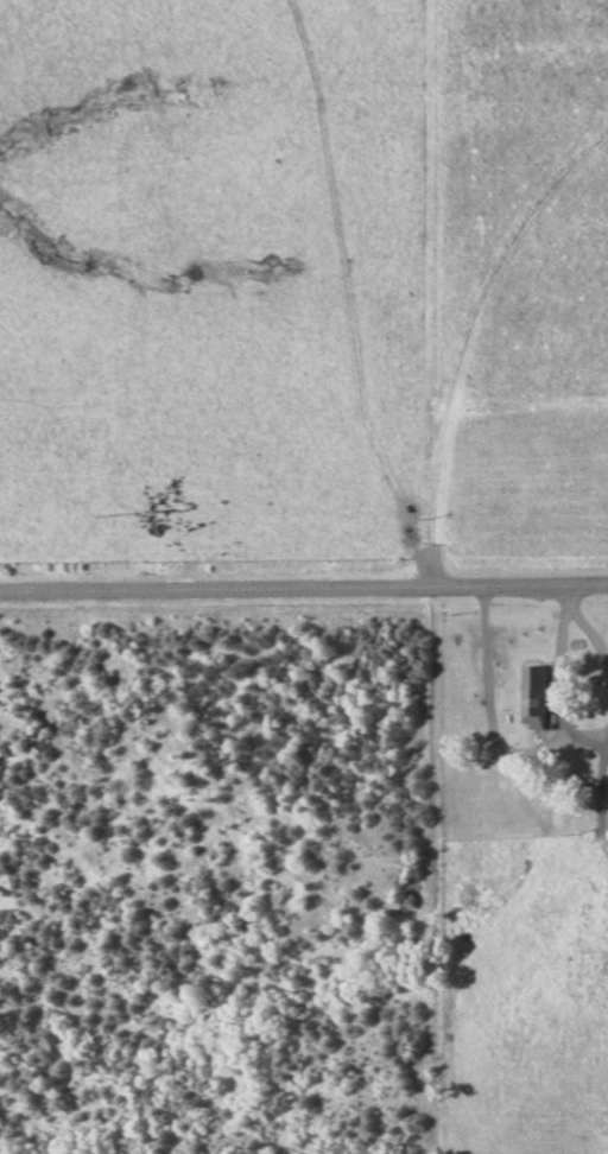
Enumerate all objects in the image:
road: (303, 584)
building: (538, 696)

